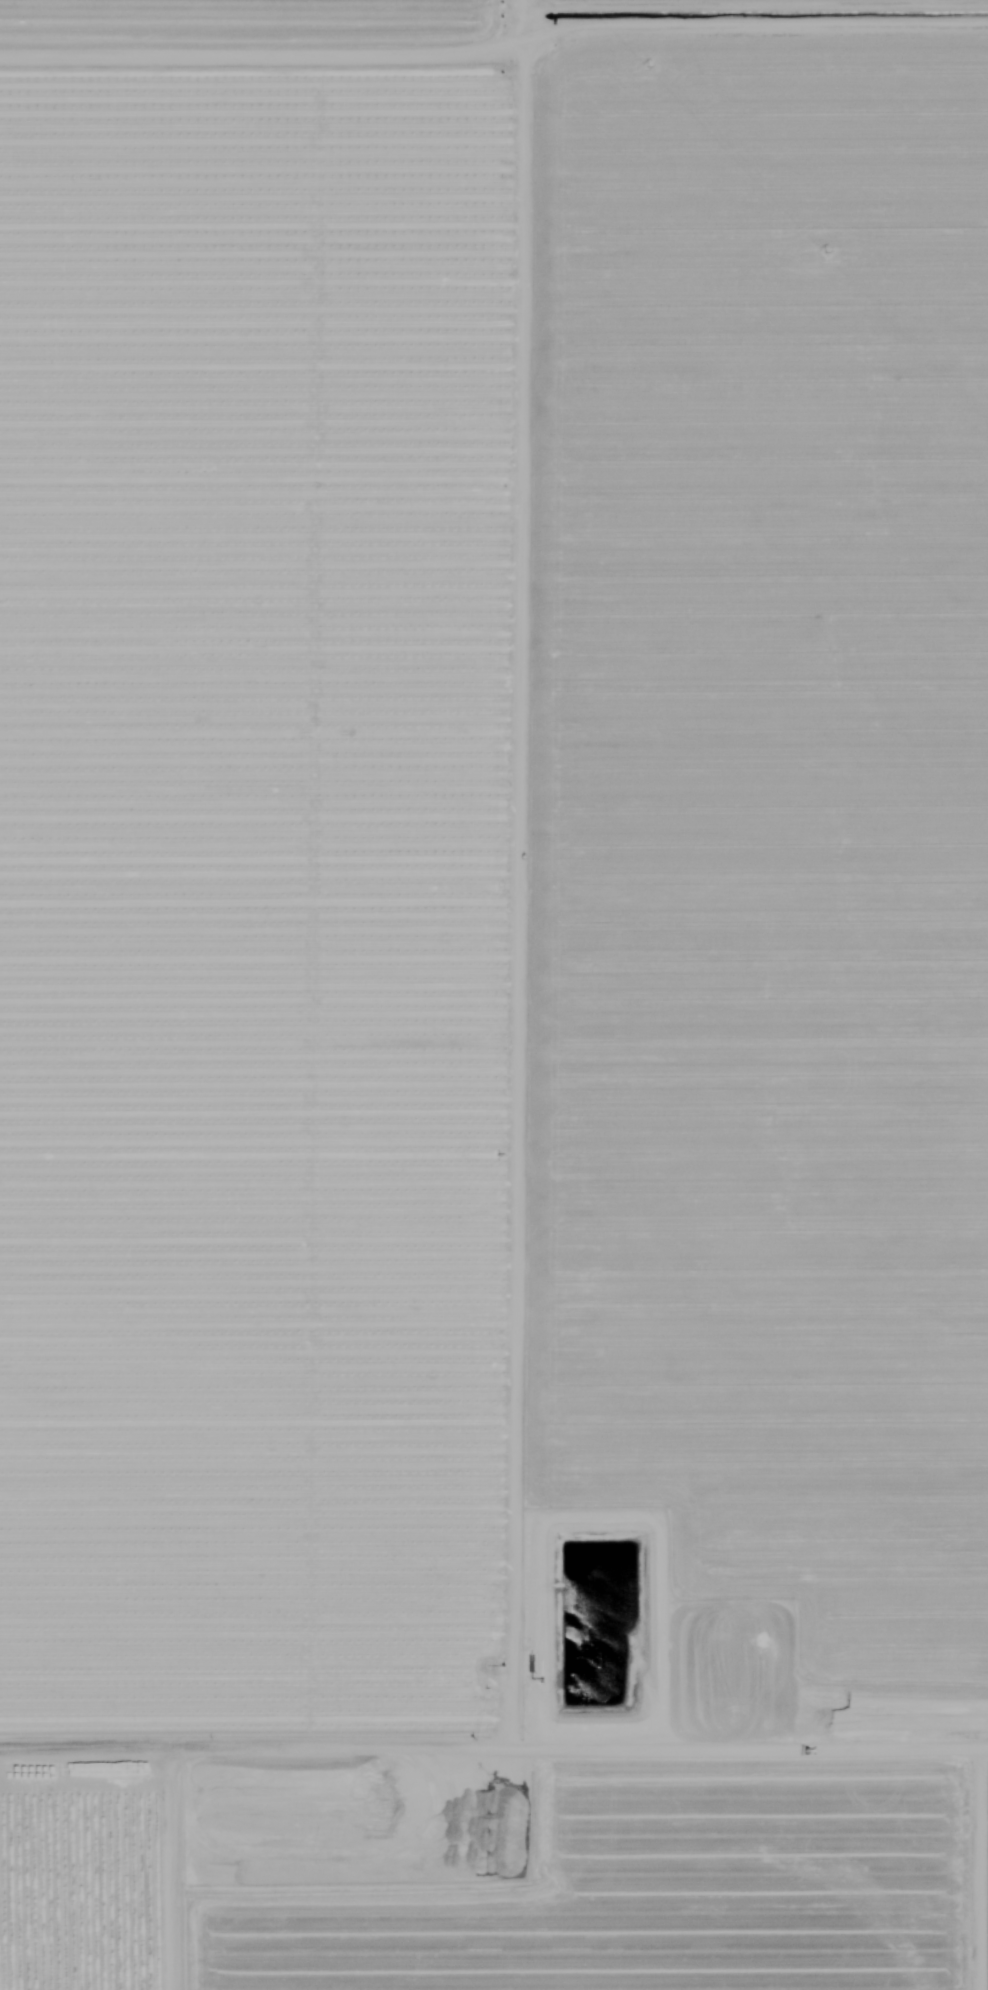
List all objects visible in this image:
road: (493, 1753)

